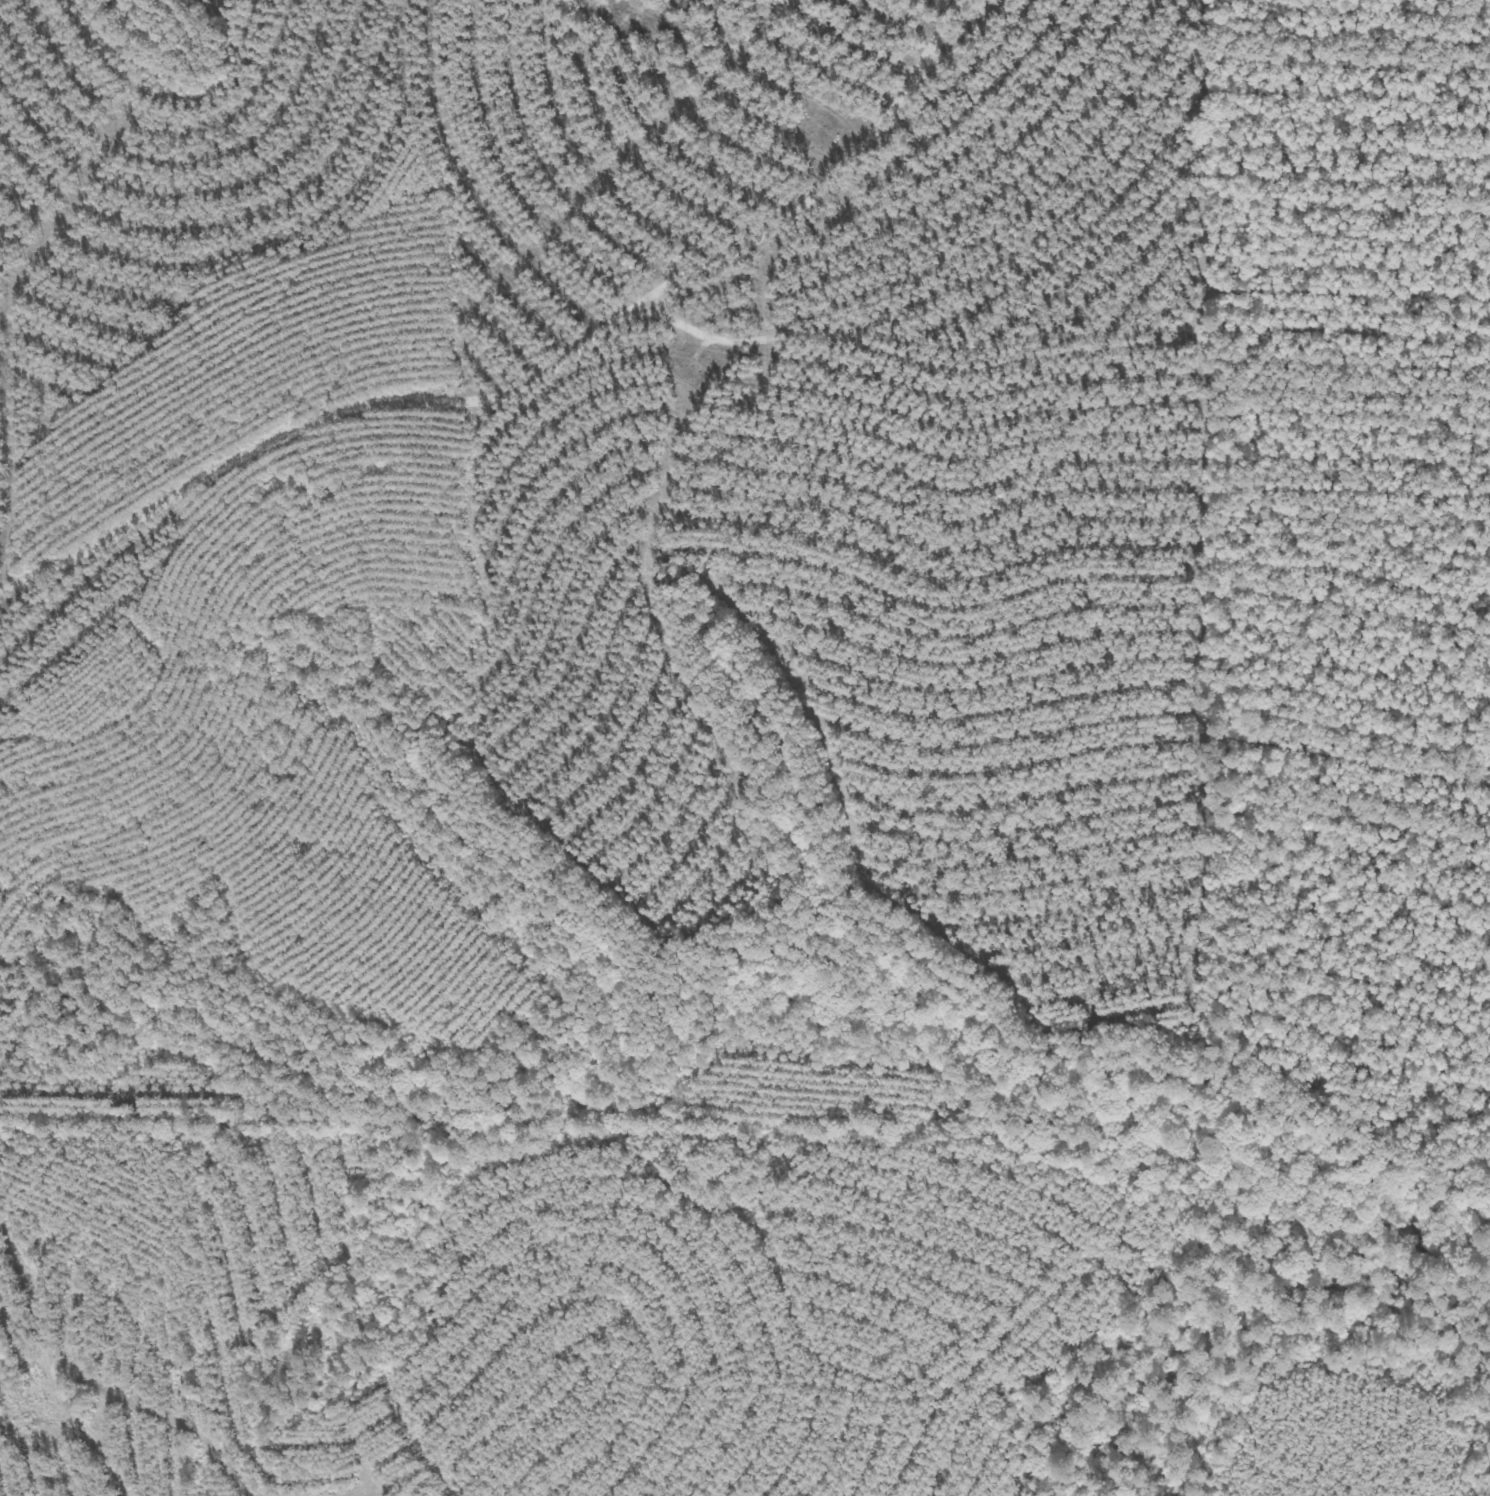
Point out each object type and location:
road: (518, 375)

